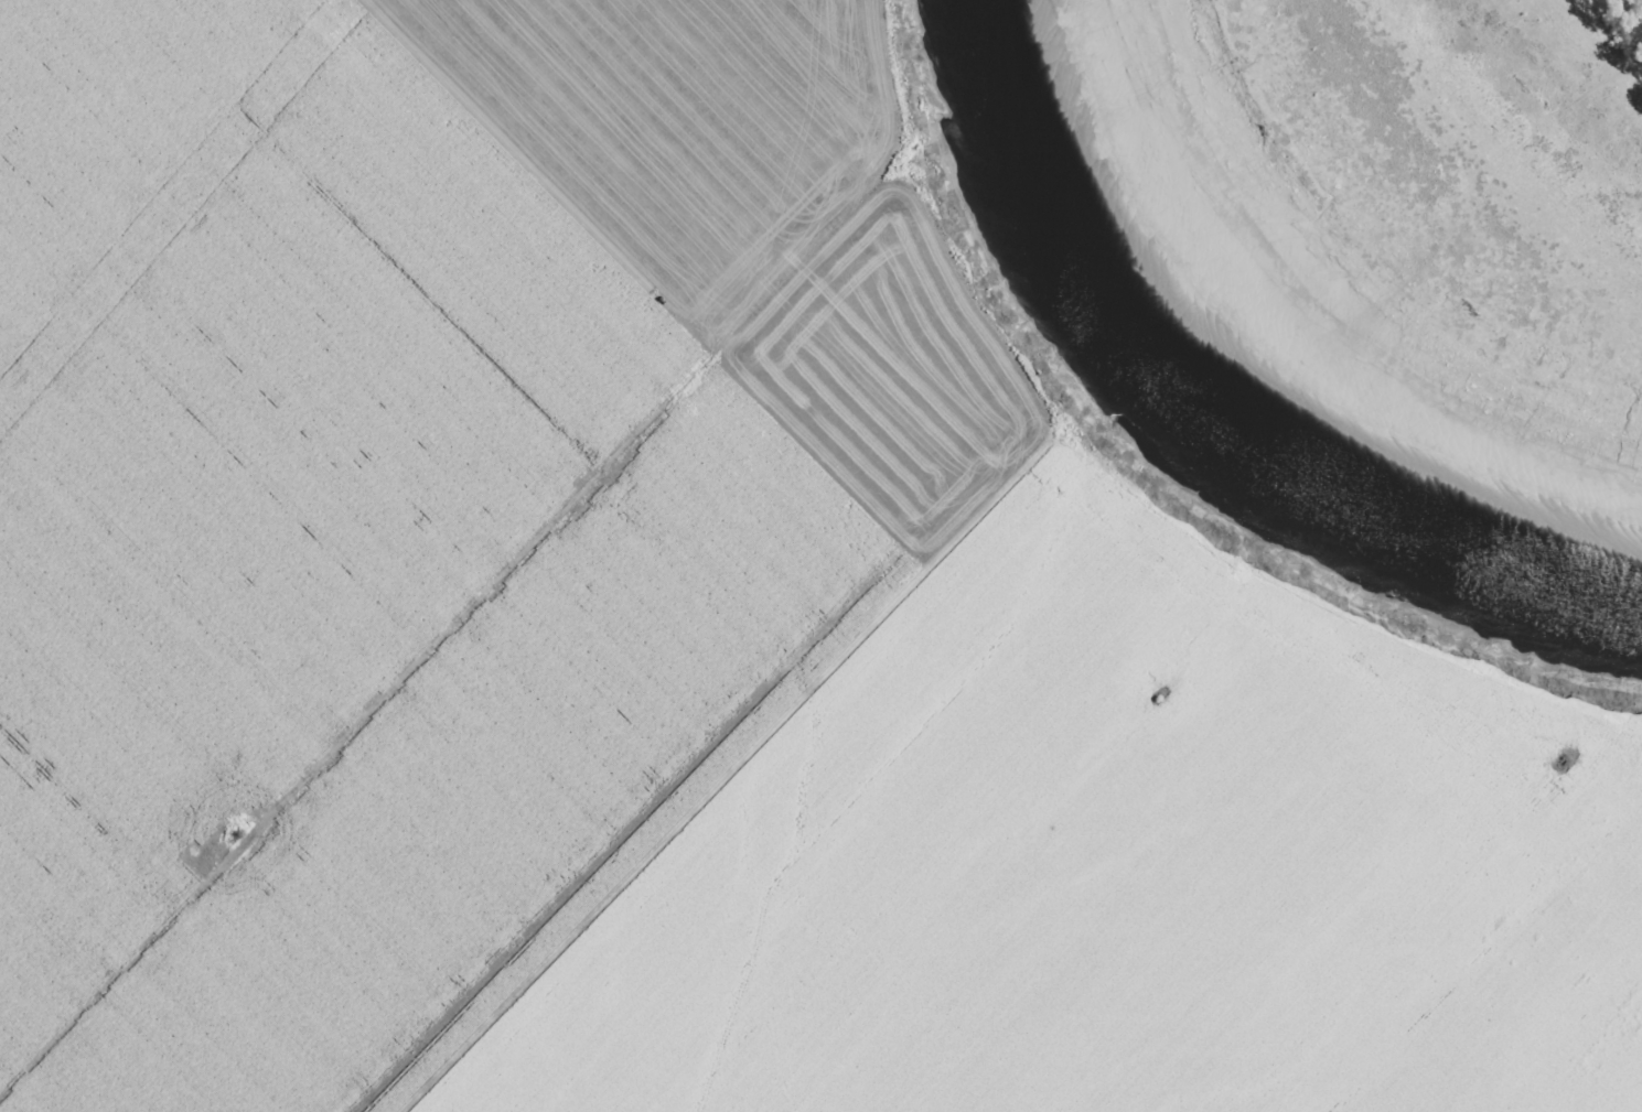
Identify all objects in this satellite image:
river: (1479, 191)

